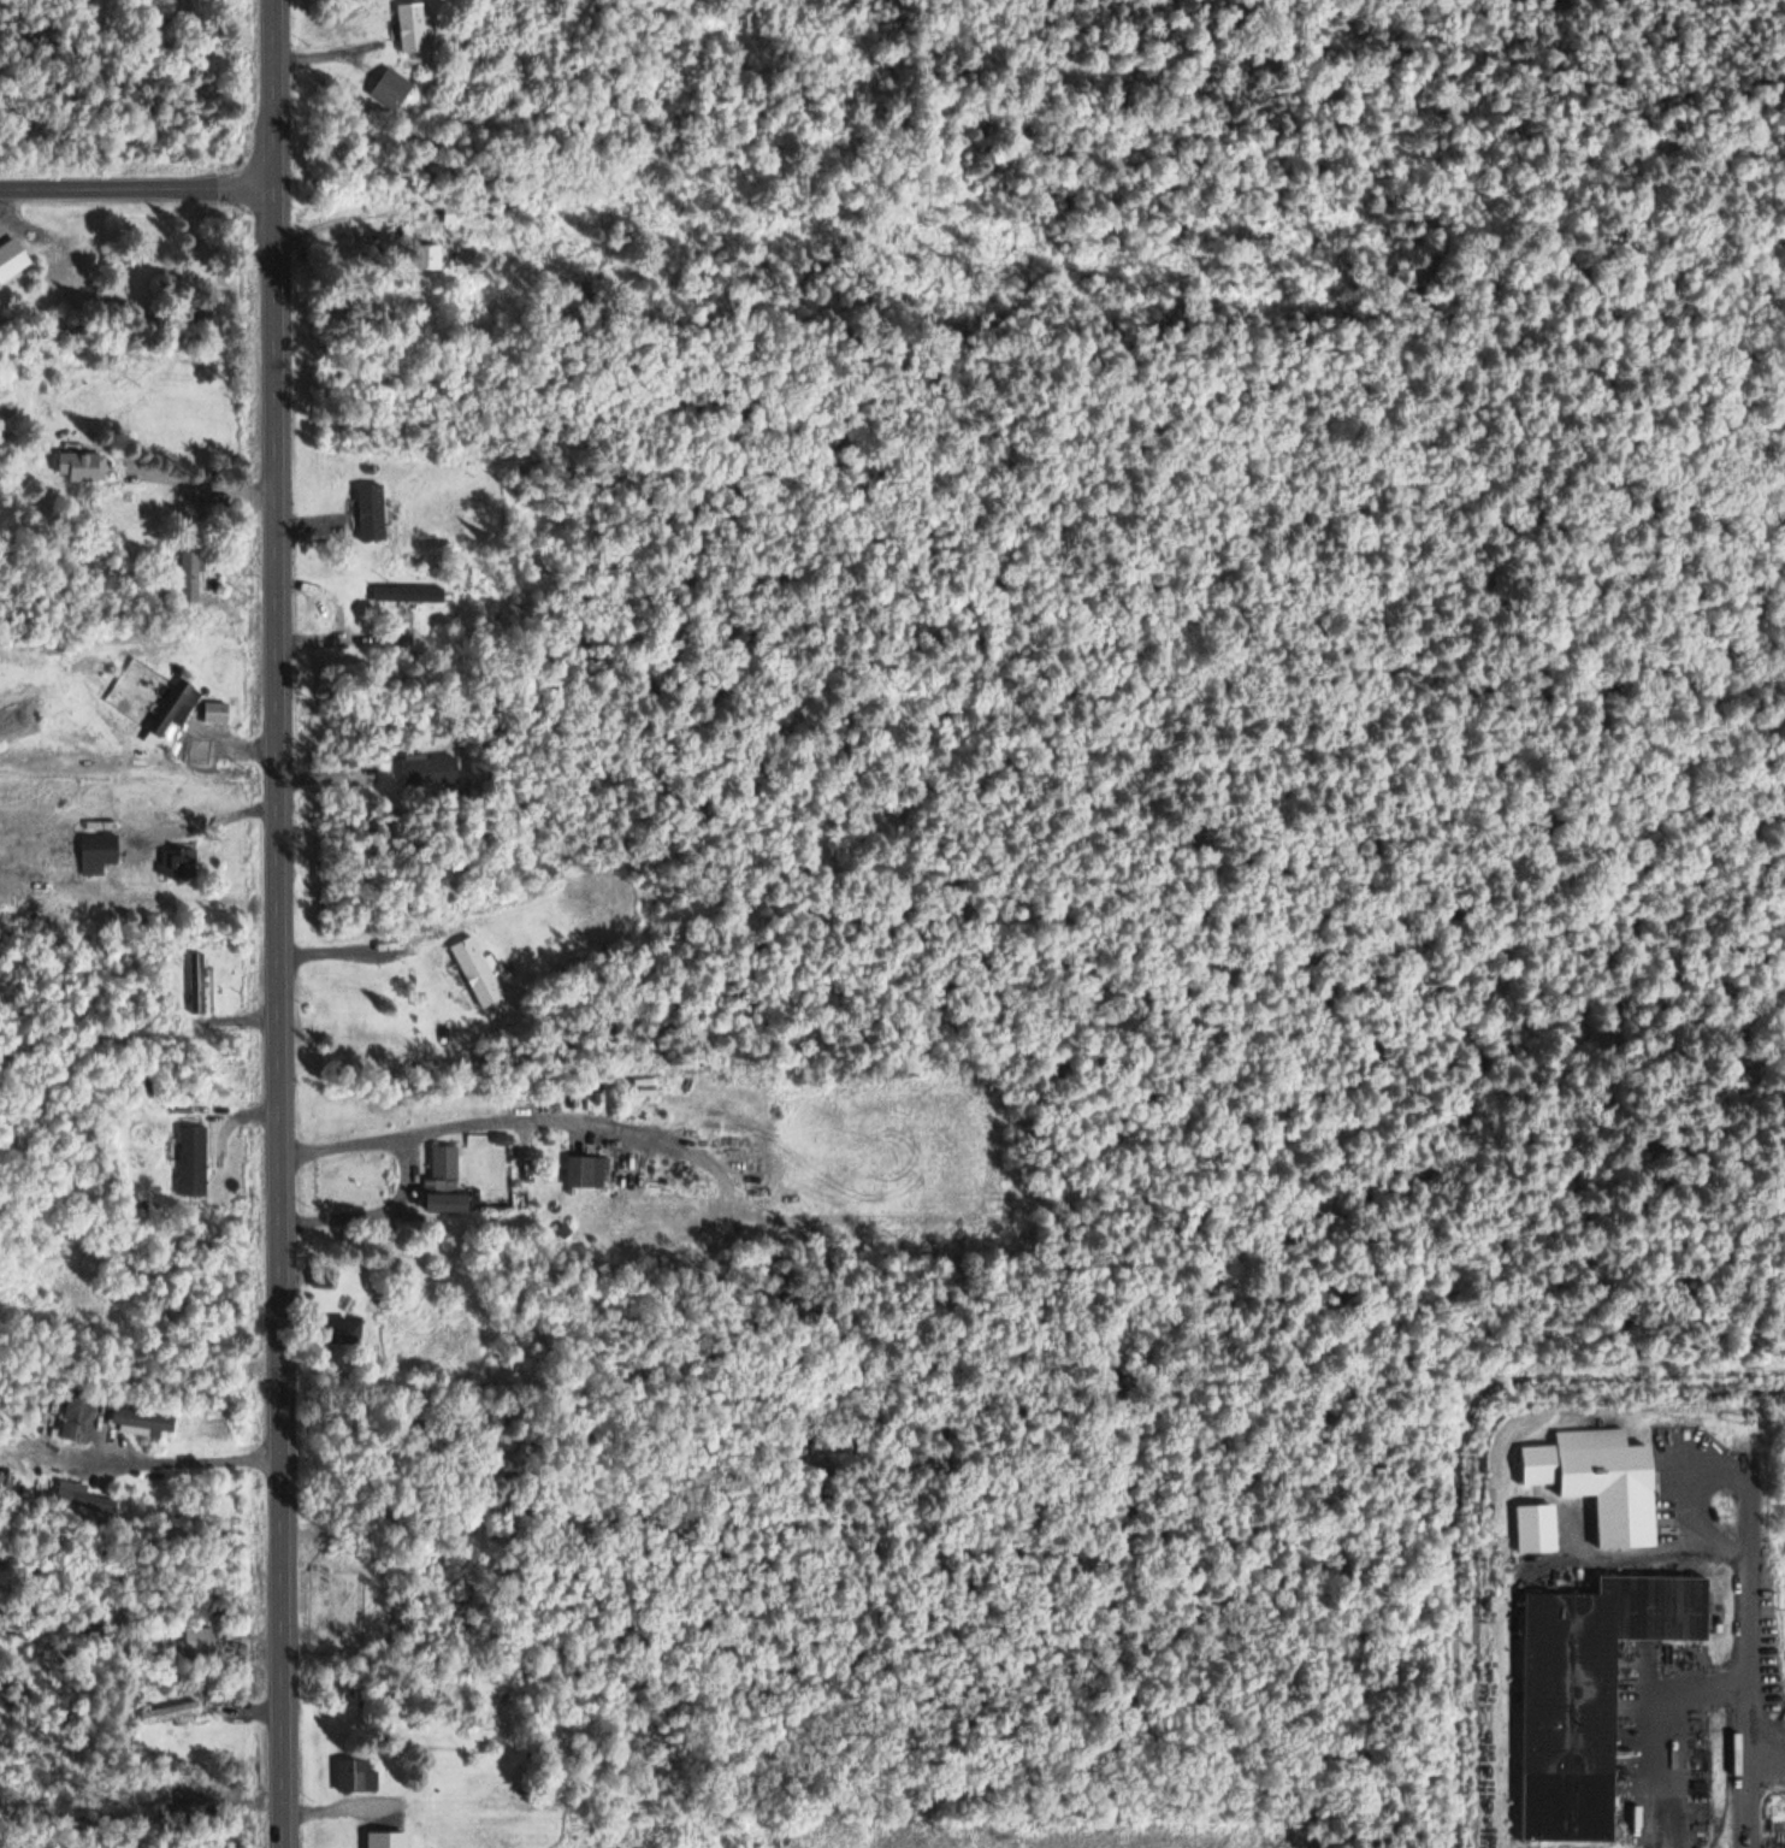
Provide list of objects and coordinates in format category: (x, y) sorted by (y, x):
building: (413, 28)
building: (392, 90)
road: (273, 94)
road: (136, 187)
building: (430, 258)
building: (12, 260)
building: (83, 466)
building: (372, 510)
building: (193, 574)
building: (409, 594)
building: (176, 712)
building: (428, 772)
building: (99, 854)
building: (479, 972)
building: (199, 982)
road: (278, 1017)
building: (642, 1093)
road: (506, 1122)
building: (195, 1162)
building: (587, 1171)
building: (448, 1181)
road: (370, 1214)
building: (323, 1280)
building: (348, 1333)
building: (78, 1418)
building: (144, 1419)
road: (166, 1463)
building: (1603, 1482)
building: (82, 1498)
building: (1539, 1529)
building: (201, 1641)
building: (1592, 1693)
building: (172, 1712)
building: (359, 1773)
building: (389, 1838)

